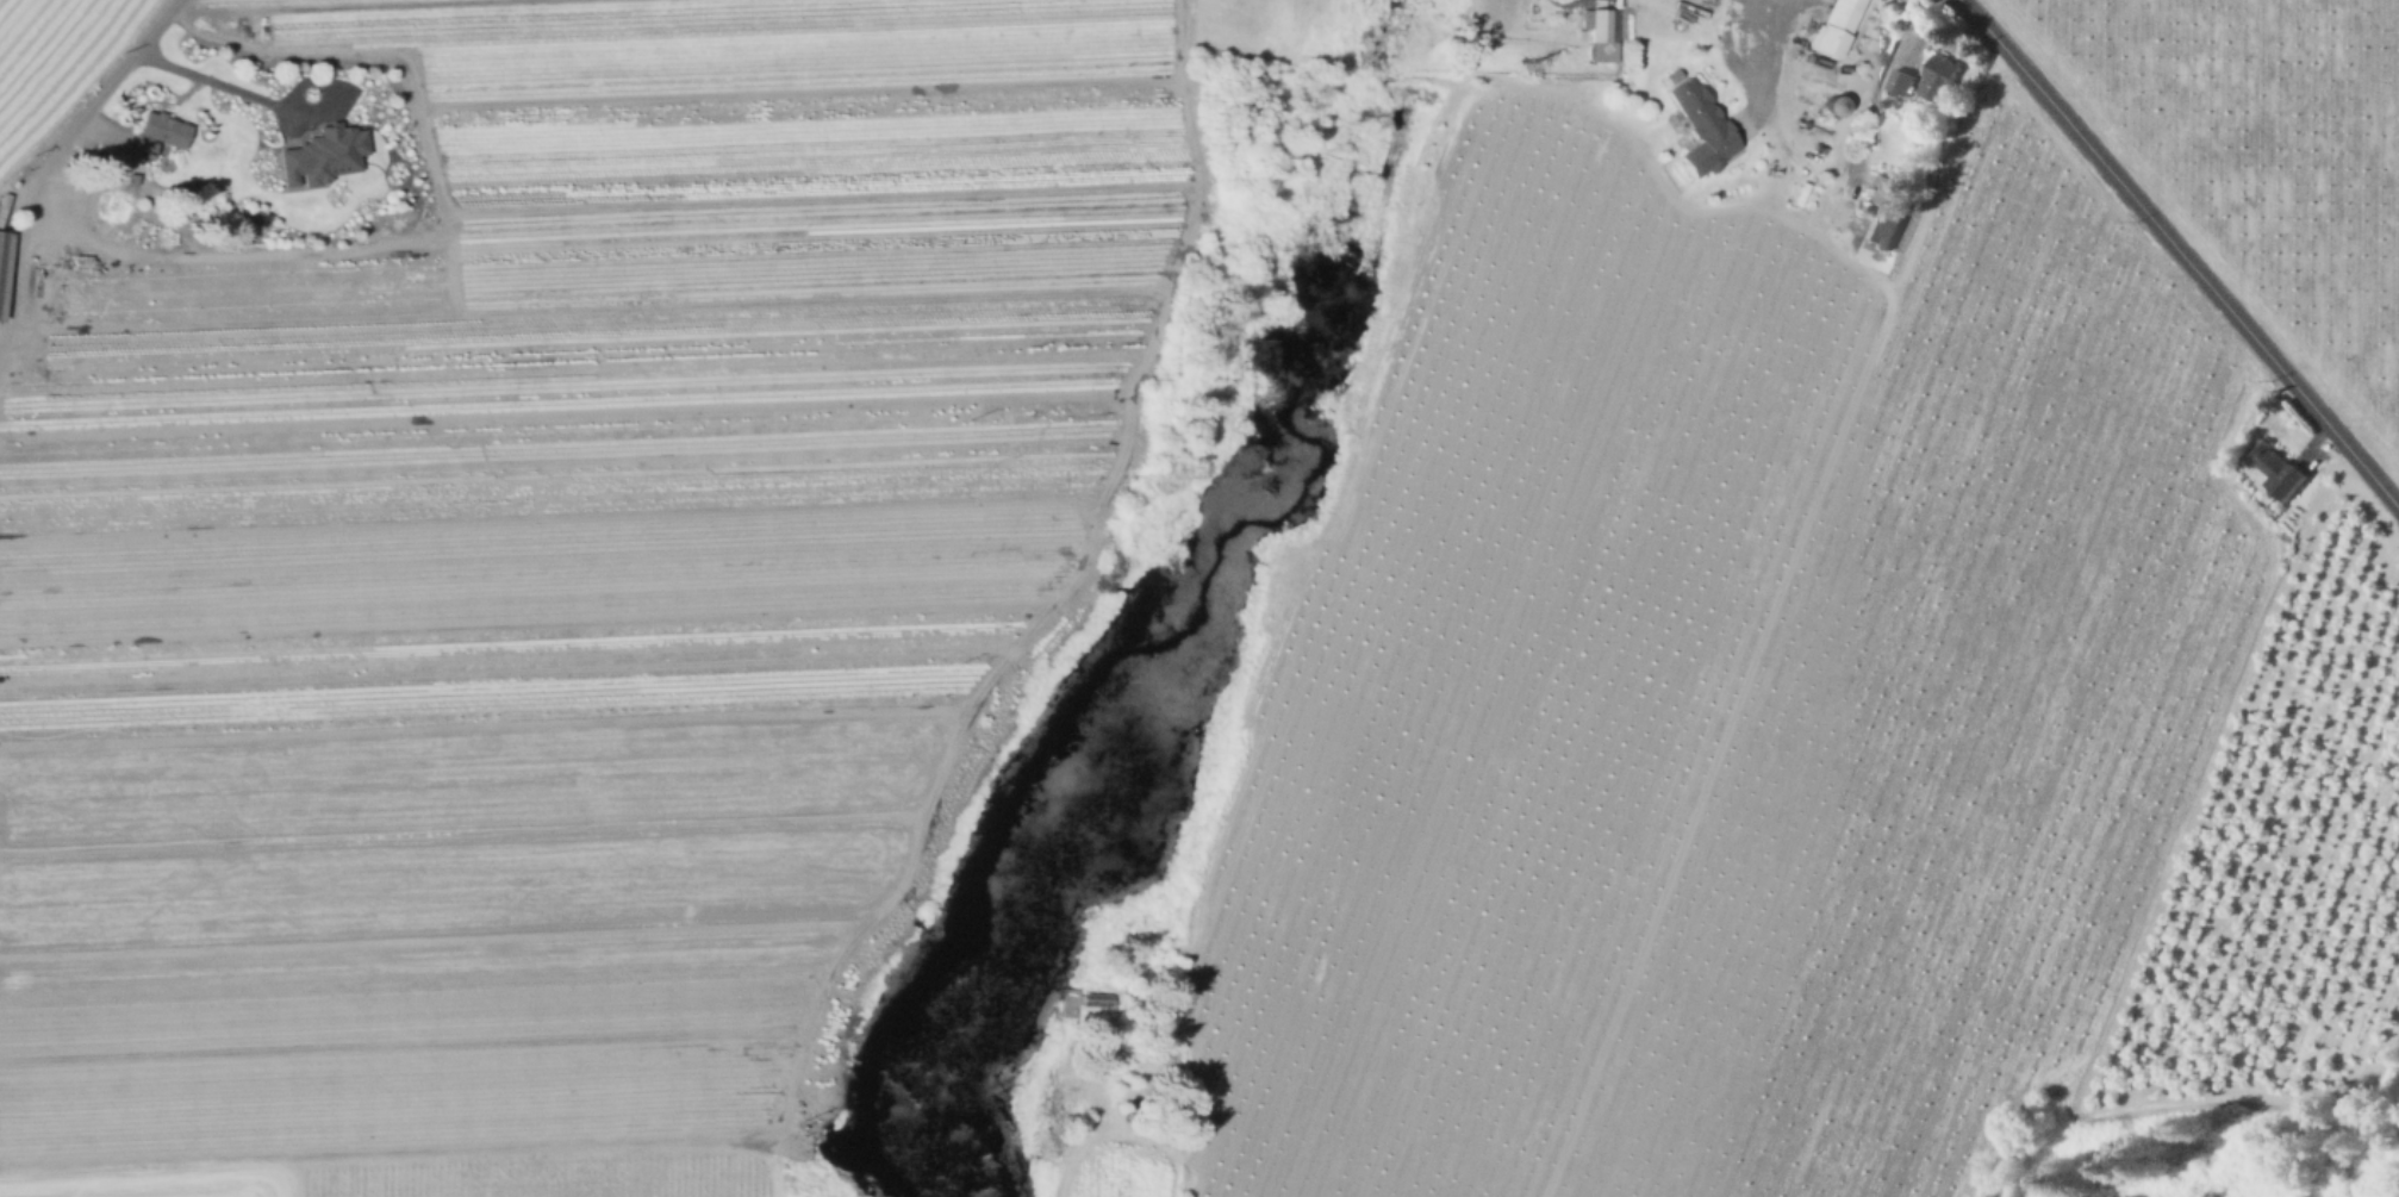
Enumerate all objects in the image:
crop: (625, 17)
road: (1777, 27)
building: (1837, 29)
building: (1603, 36)
crop: (52, 62)
building: (1942, 77)
road: (217, 81)
building: (1903, 81)
road: (1880, 82)
building: (1836, 110)
silo: (1836, 110)
building: (1702, 130)
building: (157, 138)
road: (57, 154)
building: (323, 160)
crop: (2261, 161)
building: (1889, 208)
road: (2182, 251)
building: (5, 270)
building: (2272, 461)
road: (866, 922)
building: (1073, 995)
crop: (1123, 1173)
crop: (436, 1178)

